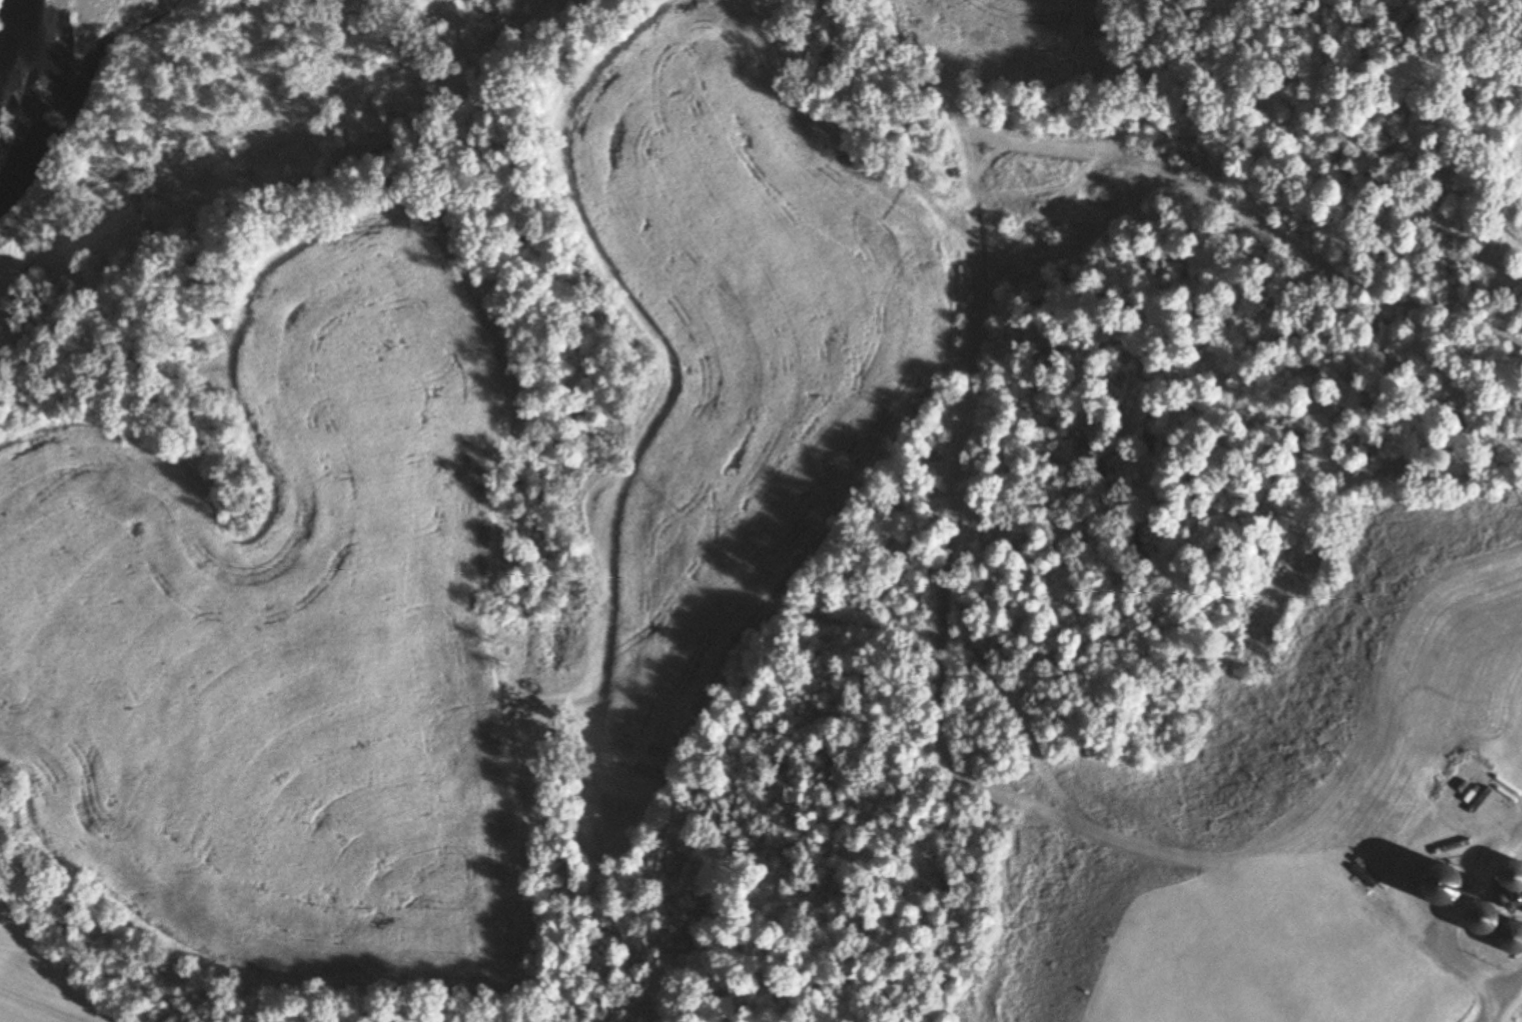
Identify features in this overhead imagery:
river: (58, 29)
road: (1457, 924)
road: (1509, 1004)
road: (35, 1007)

